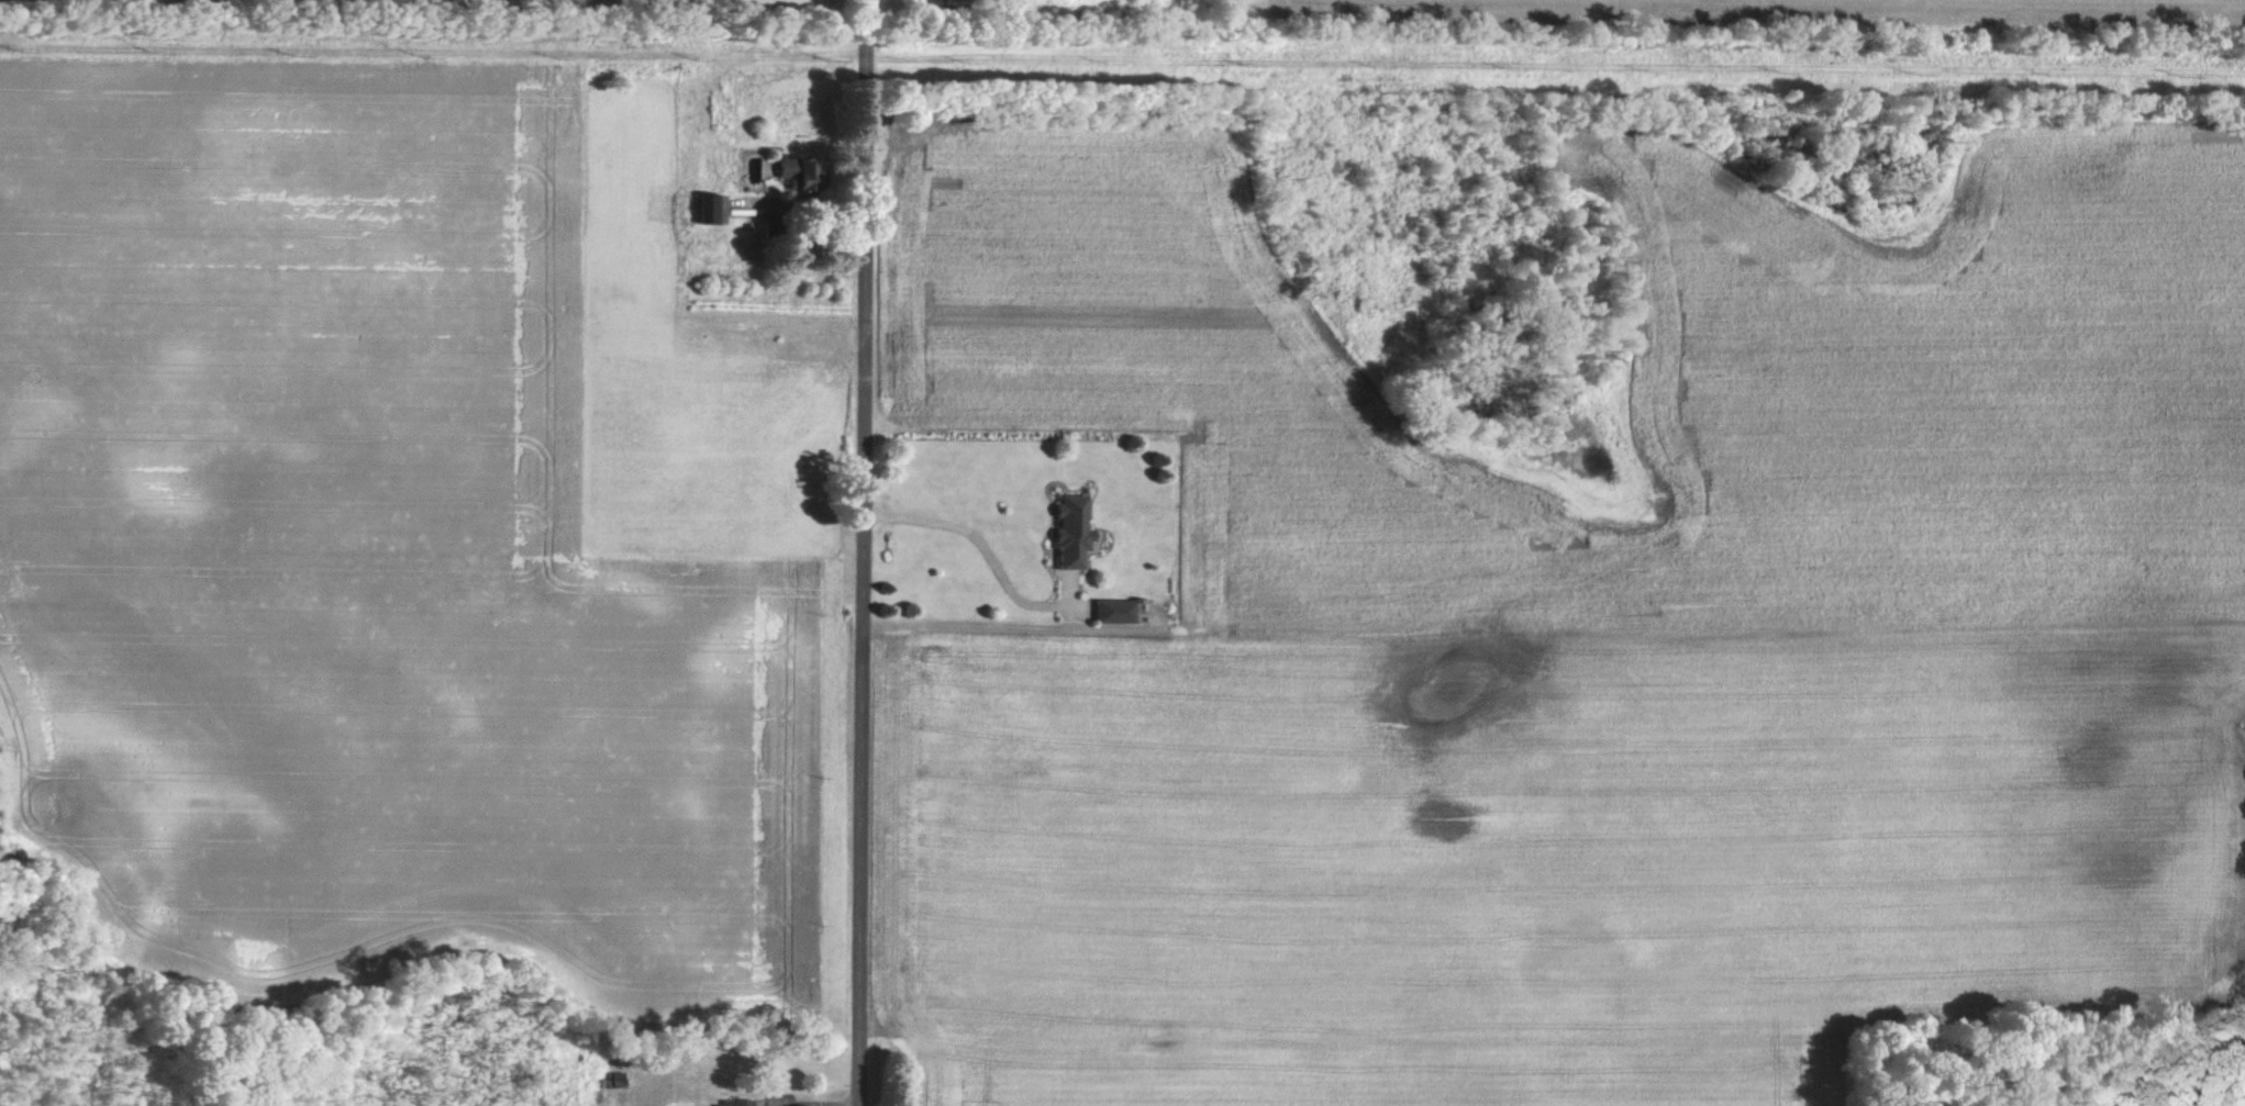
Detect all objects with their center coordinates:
building: (789, 171)
building: (703, 208)
building: (1065, 532)
road: (977, 541)
road: (864, 552)
building: (1108, 611)
building: (733, 1103)

